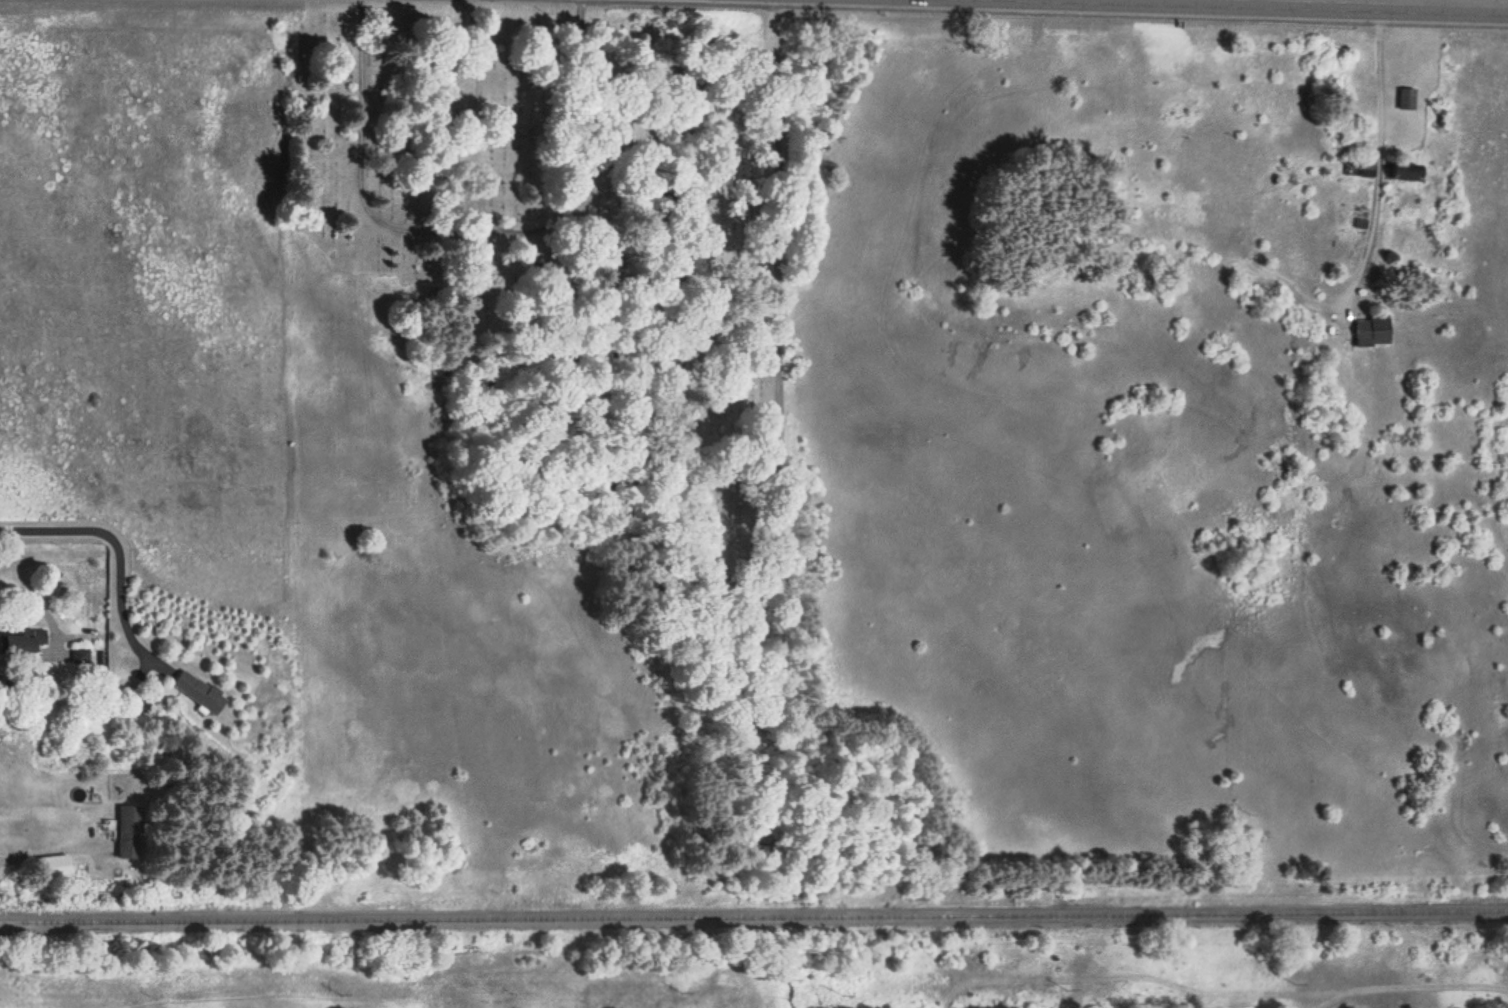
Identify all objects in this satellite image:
building: (1405, 97)
road: (466, 116)
park: (389, 143)
building: (1359, 166)
building: (1406, 170)
building: (1371, 328)
building: (23, 639)
building: (79, 655)
building: (198, 690)
building: (130, 830)
building: (53, 865)
railway: (754, 912)

